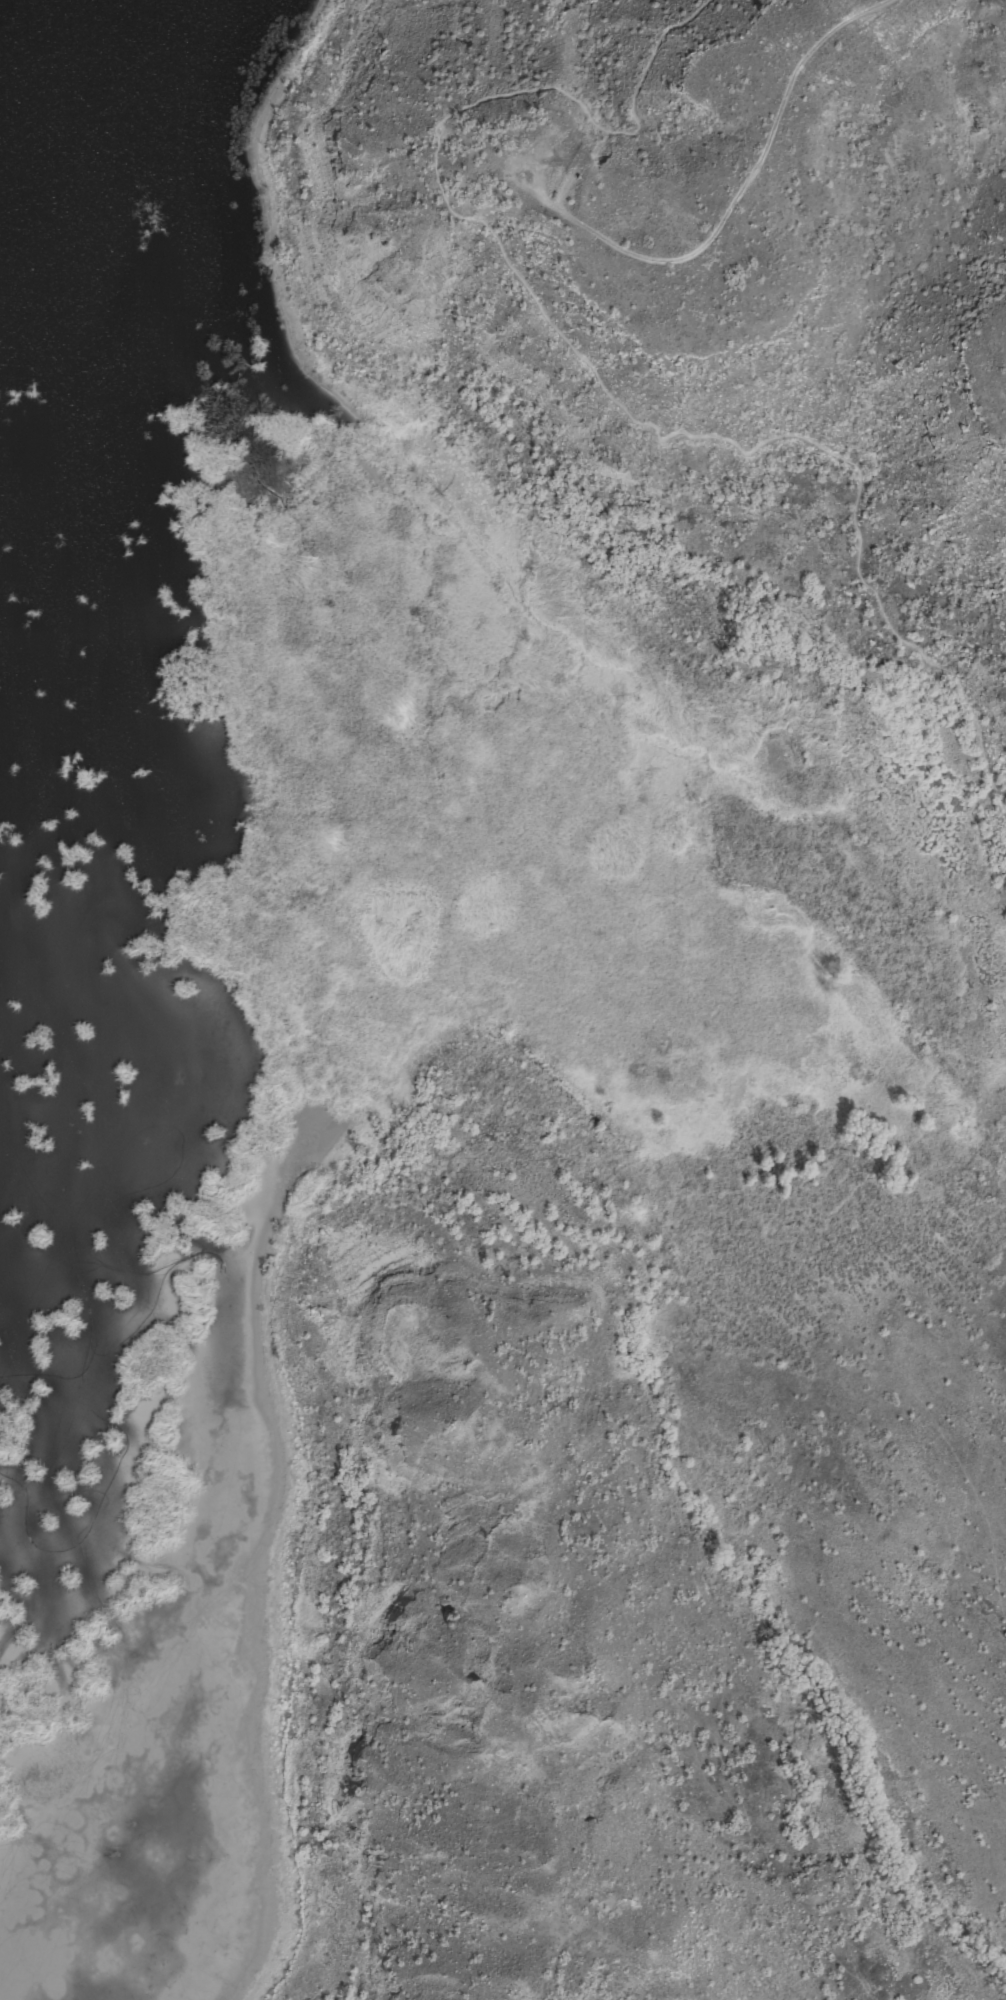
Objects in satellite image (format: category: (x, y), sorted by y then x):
road: (775, 180)

